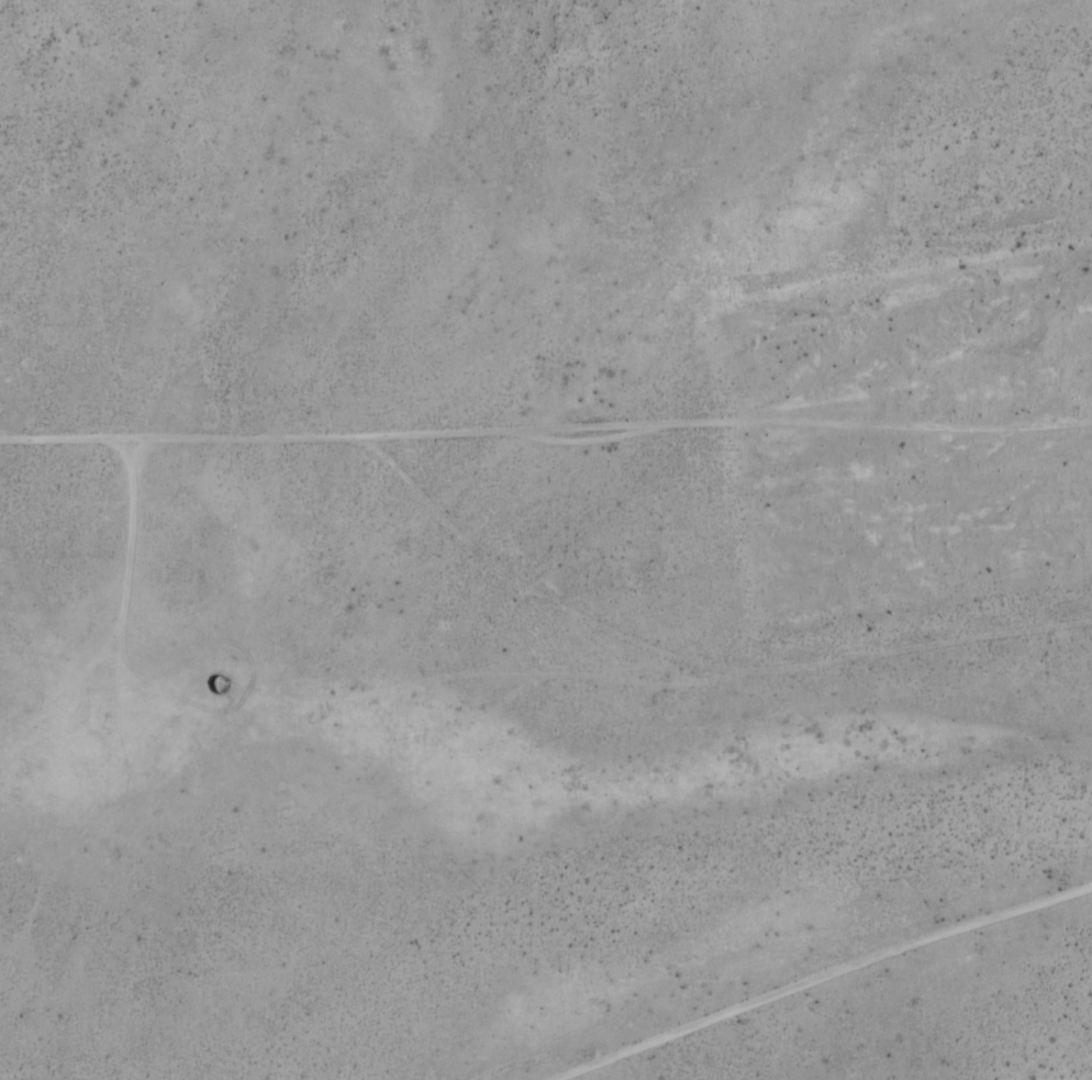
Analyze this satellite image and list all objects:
road: (546, 623)

